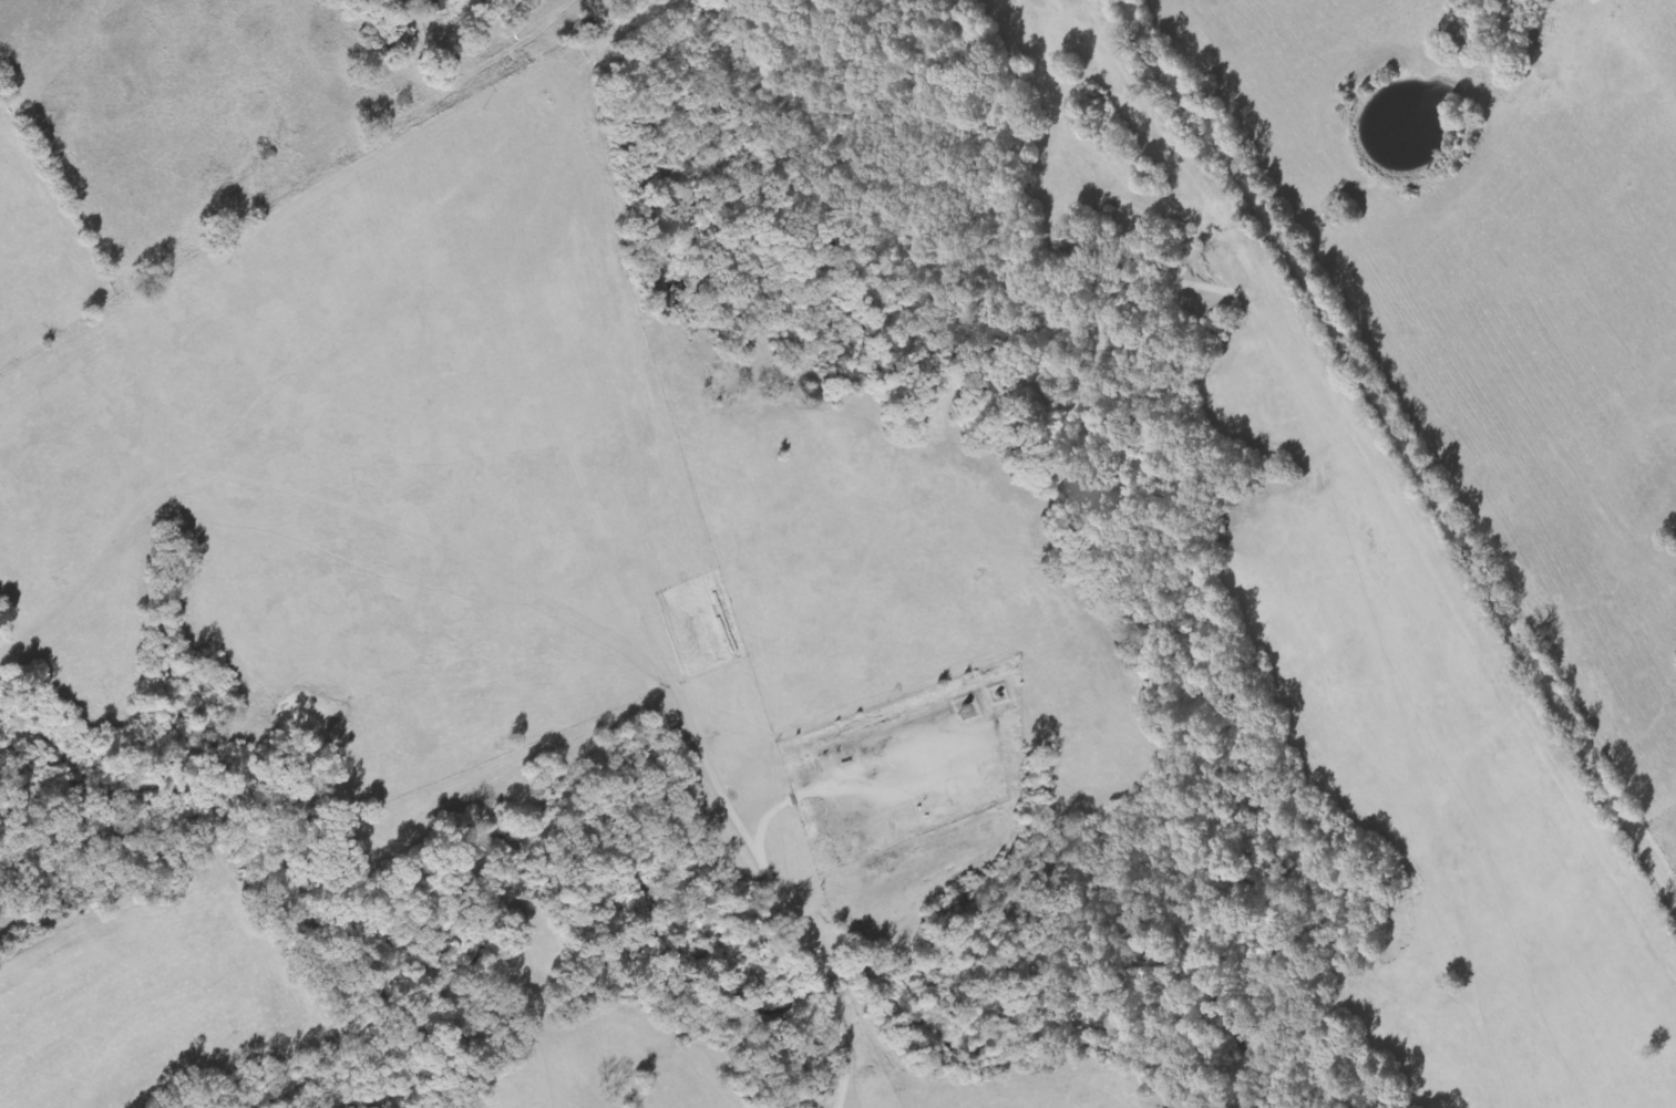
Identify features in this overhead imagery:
building: (432, 6)
road: (1406, 455)

